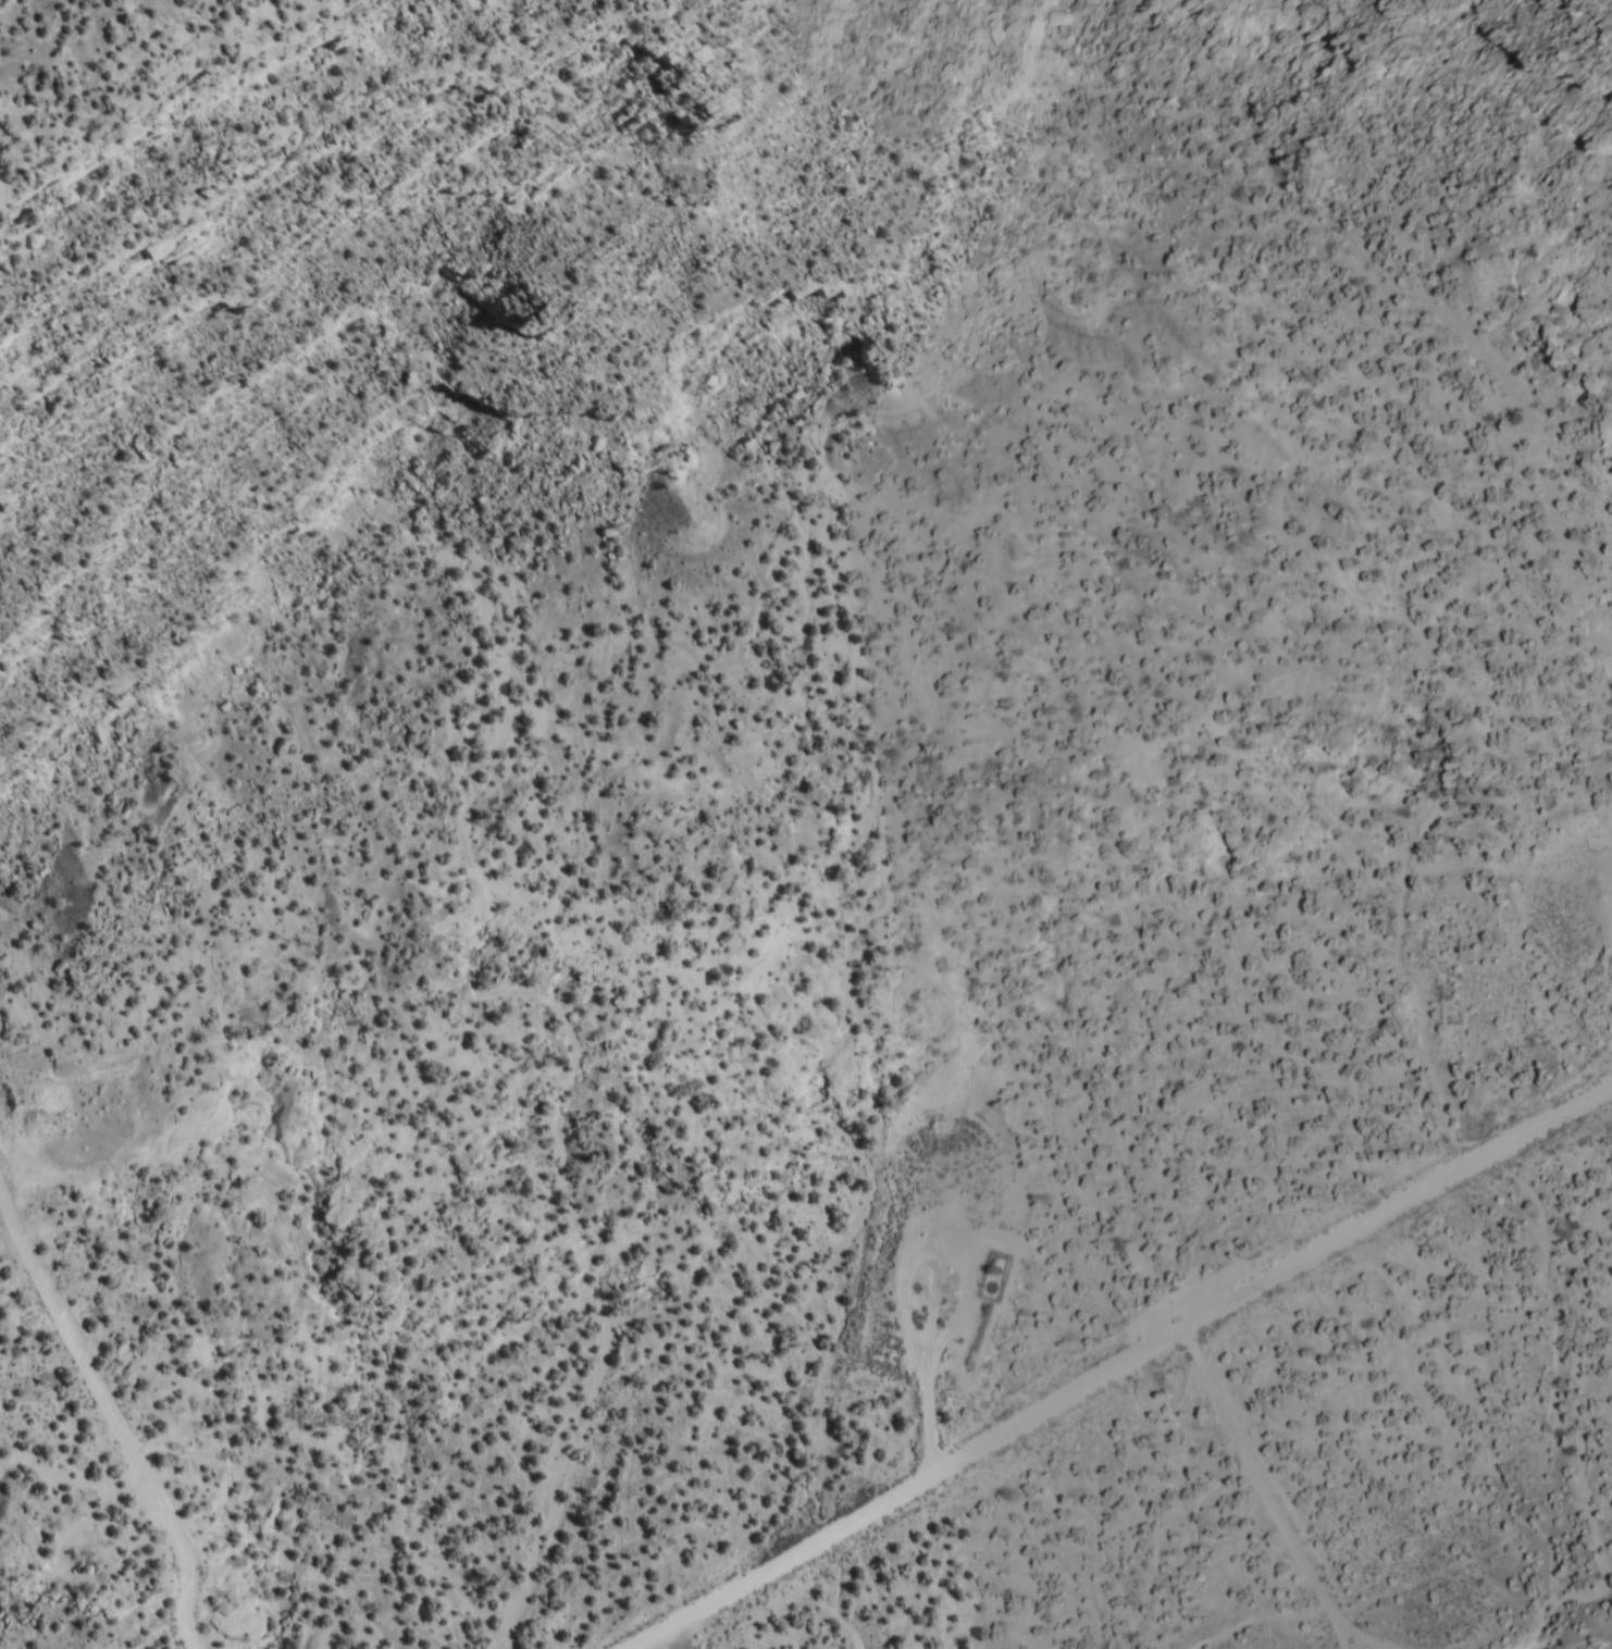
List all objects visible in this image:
road: (904, 1265)
road: (1121, 1367)
road: (116, 1414)
road: (1266, 1478)
road: (679, 1637)
road: (1348, 1638)
road: (1355, 1638)

